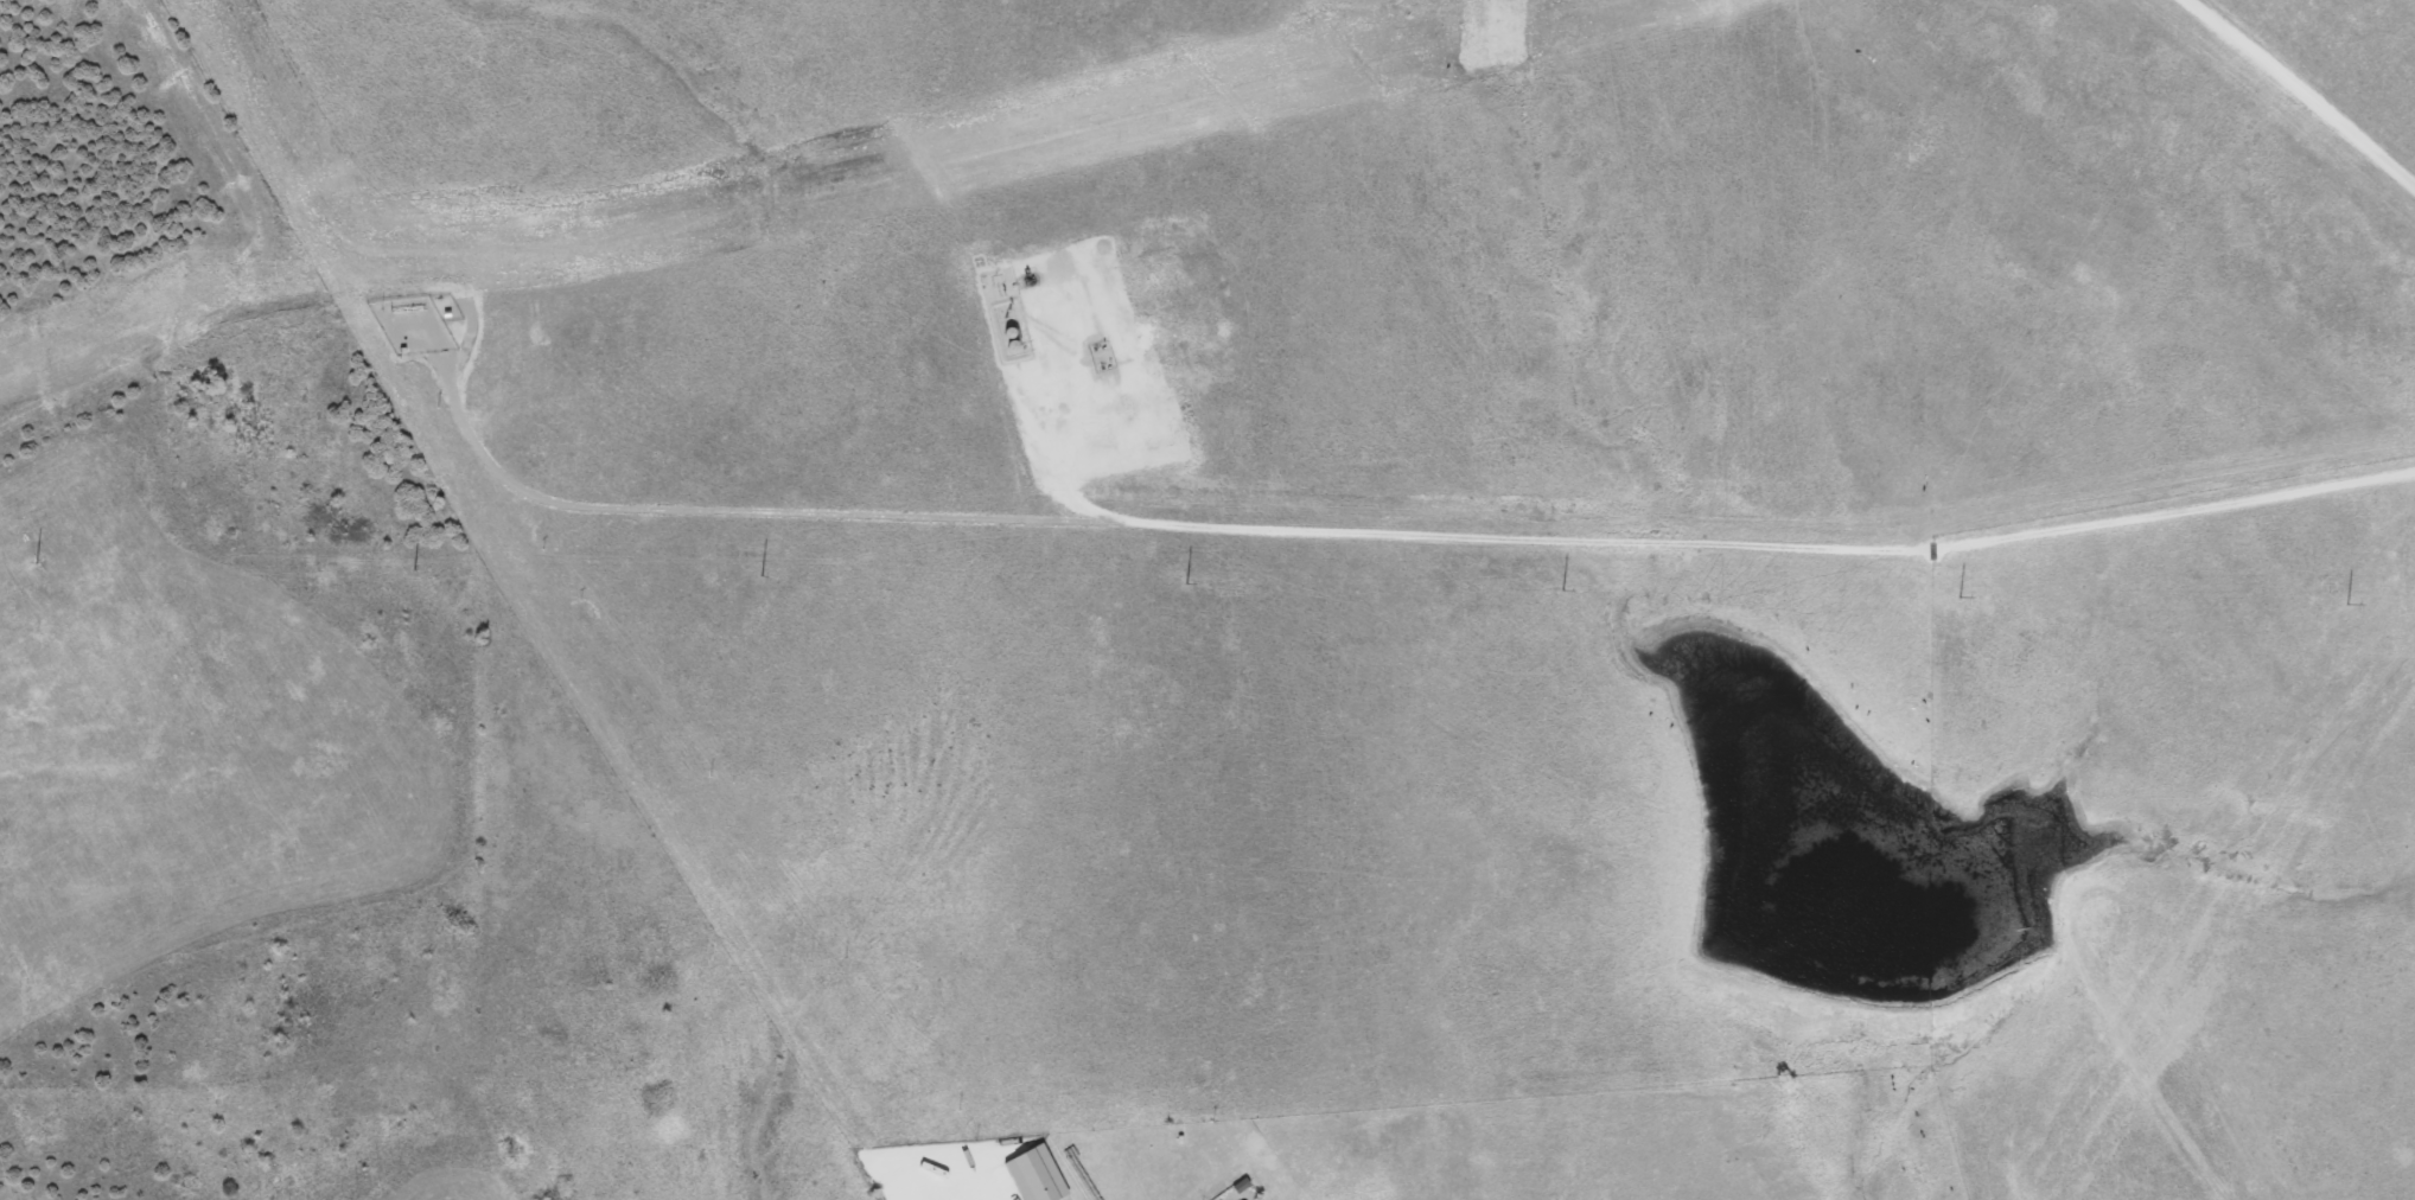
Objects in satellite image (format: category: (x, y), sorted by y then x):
road: (2306, 89)
road: (1741, 536)
building: (1038, 1175)

